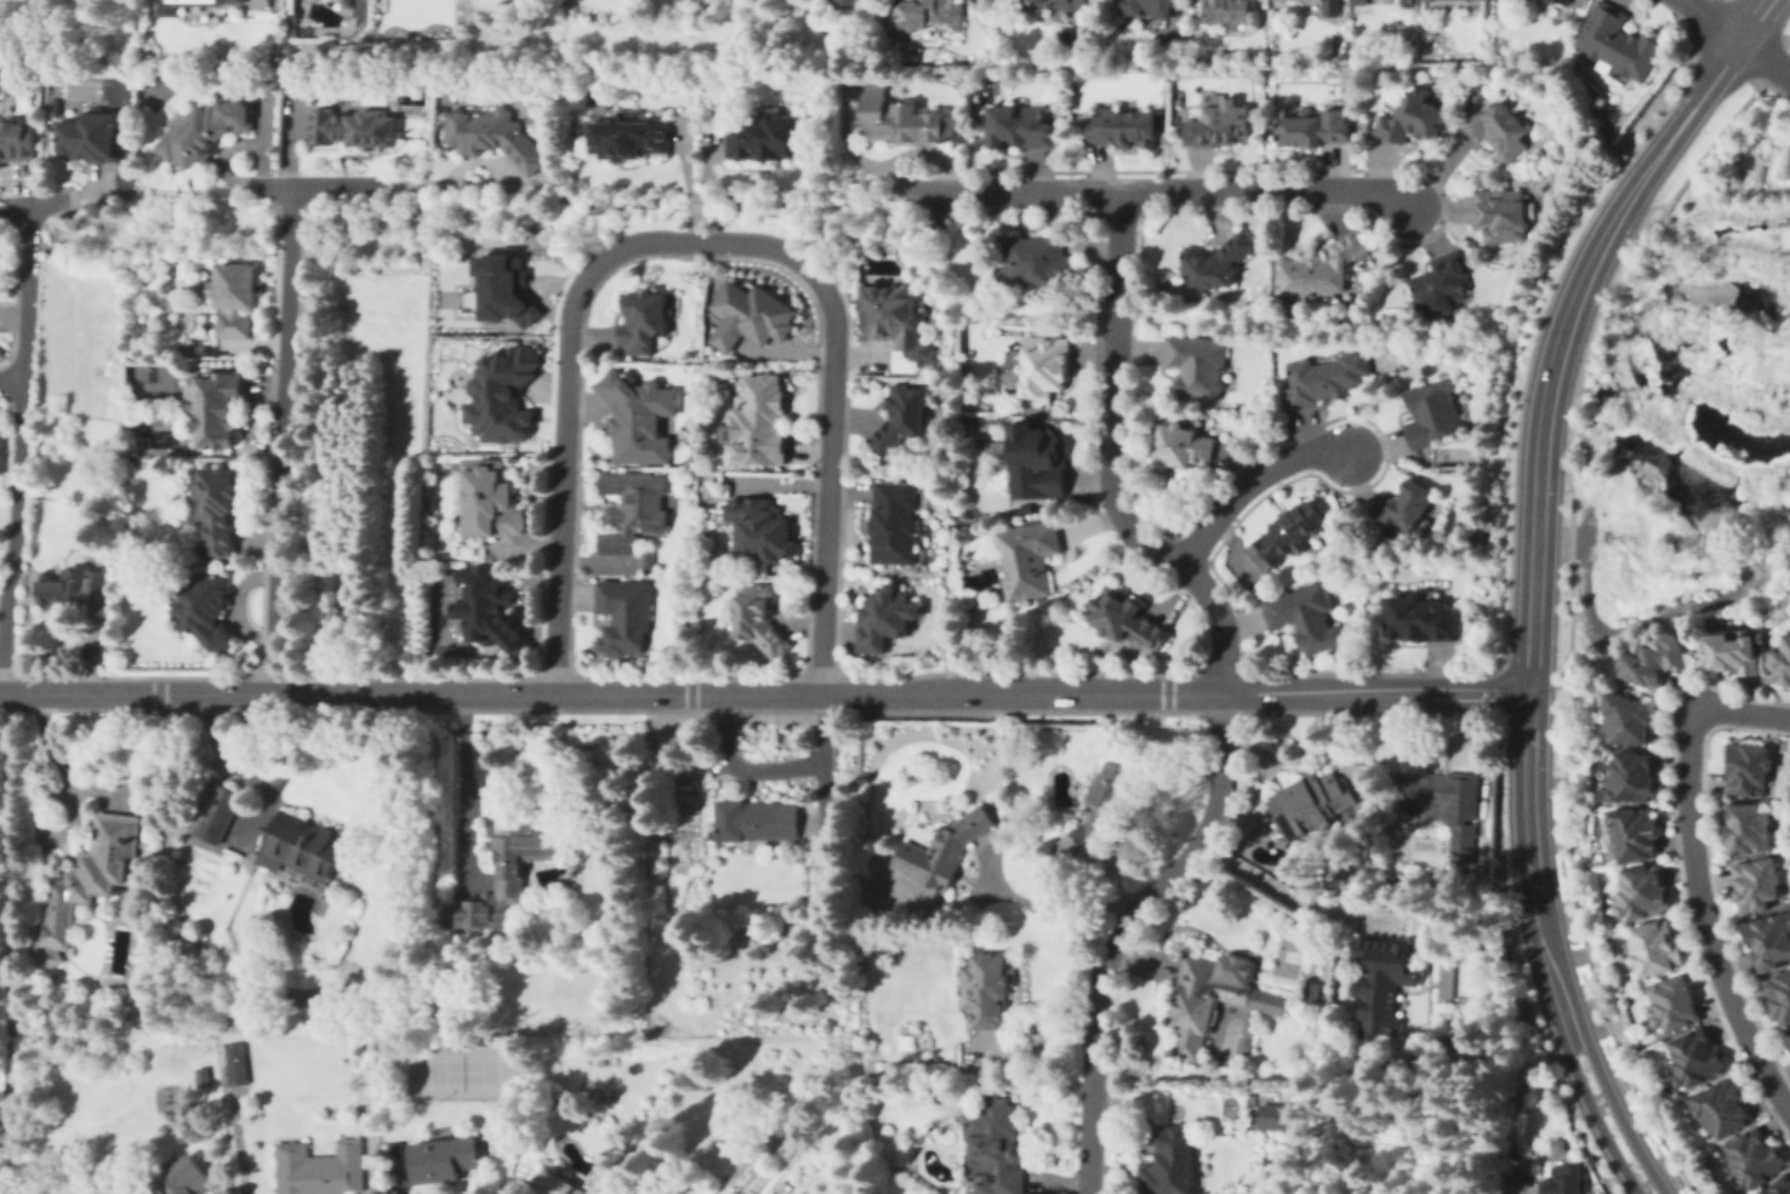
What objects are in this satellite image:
building: (1561, 0)
building: (1567, 0)
building: (1359, 1)
building: (1407, 1)
building: (848, 2)
building: (203, 4)
building: (1068, 4)
building: (1313, 6)
building: (1152, 7)
building: (1329, 7)
building: (1230, 11)
building: (933, 15)
road: (1757, 21)
road: (1739, 38)
park: (1168, 39)
building: (1620, 40)
park: (153, 92)
building: (53, 108)
building: (1410, 115)
building: (905, 120)
building: (1017, 126)
building: (1121, 126)
building: (1220, 127)
building: (355, 128)
building: (1499, 128)
building: (209, 130)
building: (1316, 131)
building: (495, 133)
building: (16, 137)
building: (93, 137)
building: (632, 137)
building: (765, 137)
road: (319, 183)
road: (1161, 187)
road: (49, 204)
building: (1501, 213)
building: (1036, 259)
building: (1214, 262)
building: (1322, 268)
building: (1441, 284)
building: (502, 286)
building: (205, 287)
building: (238, 301)
building: (751, 316)
building: (644, 321)
building: (896, 324)
road: (1560, 339)
building: (187, 349)
road: (566, 349)
building: (1043, 364)
building: (1198, 365)
road: (11, 379)
building: (1323, 379)
park: (150, 382)
building: (501, 395)
building: (215, 407)
building: (1432, 411)
building: (639, 415)
building: (759, 419)
building: (902, 423)
road: (19, 433)
road: (281, 438)
building: (1184, 446)
building: (1, 450)
road: (1110, 462)
building: (1036, 468)
road: (1247, 480)
road: (826, 489)
building: (491, 501)
building: (1409, 505)
building: (1025, 509)
building: (221, 510)
building: (637, 510)
building: (897, 524)
crop: (4, 527)
building: (762, 530)
building: (1284, 535)
building: (1030, 558)
building: (648, 560)
building: (82, 593)
building: (485, 613)
building: (211, 615)
building: (628, 616)
building: (1306, 617)
building: (888, 619)
building: (1421, 619)
building: (1131, 621)
building: (763, 622)
building: (1733, 653)
building: (1655, 662)
building: (1782, 663)
road: (763, 693)
building: (1629, 720)
building: (1751, 767)
building: (1635, 777)
building: (1313, 804)
building: (1447, 805)
building: (221, 813)
building: (1101, 813)
building: (757, 821)
building: (1746, 829)
building: (1635, 834)
building: (302, 844)
building: (816, 851)
building: (946, 851)
road: (1532, 868)
building: (509, 870)
road: (1697, 876)
building: (89, 881)
building: (1756, 886)
building: (1643, 892)
road: (1286, 895)
road: (1043, 910)
road: (1117, 927)
building: (1769, 941)
road: (10, 942)
building: (1658, 949)
building: (116, 953)
park: (1289, 956)
park: (10, 958)
building: (1385, 984)
building: (1449, 984)
building: (985, 992)
building: (1780, 995)
building: (1215, 996)
building: (1676, 1005)
building: (132, 1007)
building: (1789, 1034)
building: (1698, 1057)
building: (598, 1061)
building: (236, 1062)
park: (461, 1070)
building: (204, 1076)
building: (1723, 1109)
road: (1618, 1115)
building: (1279, 1118)
road: (1595, 1119)
building: (990, 1144)
road: (236, 1146)
building: (447, 1156)
building: (1756, 1156)
building: (1173, 1165)
building: (320, 1169)
building: (188, 1178)
road: (1520, 1178)
building: (1563, 1181)
building: (603, 1183)
building: (557, 1184)
building: (781, 1187)
building: (1782, 1187)

